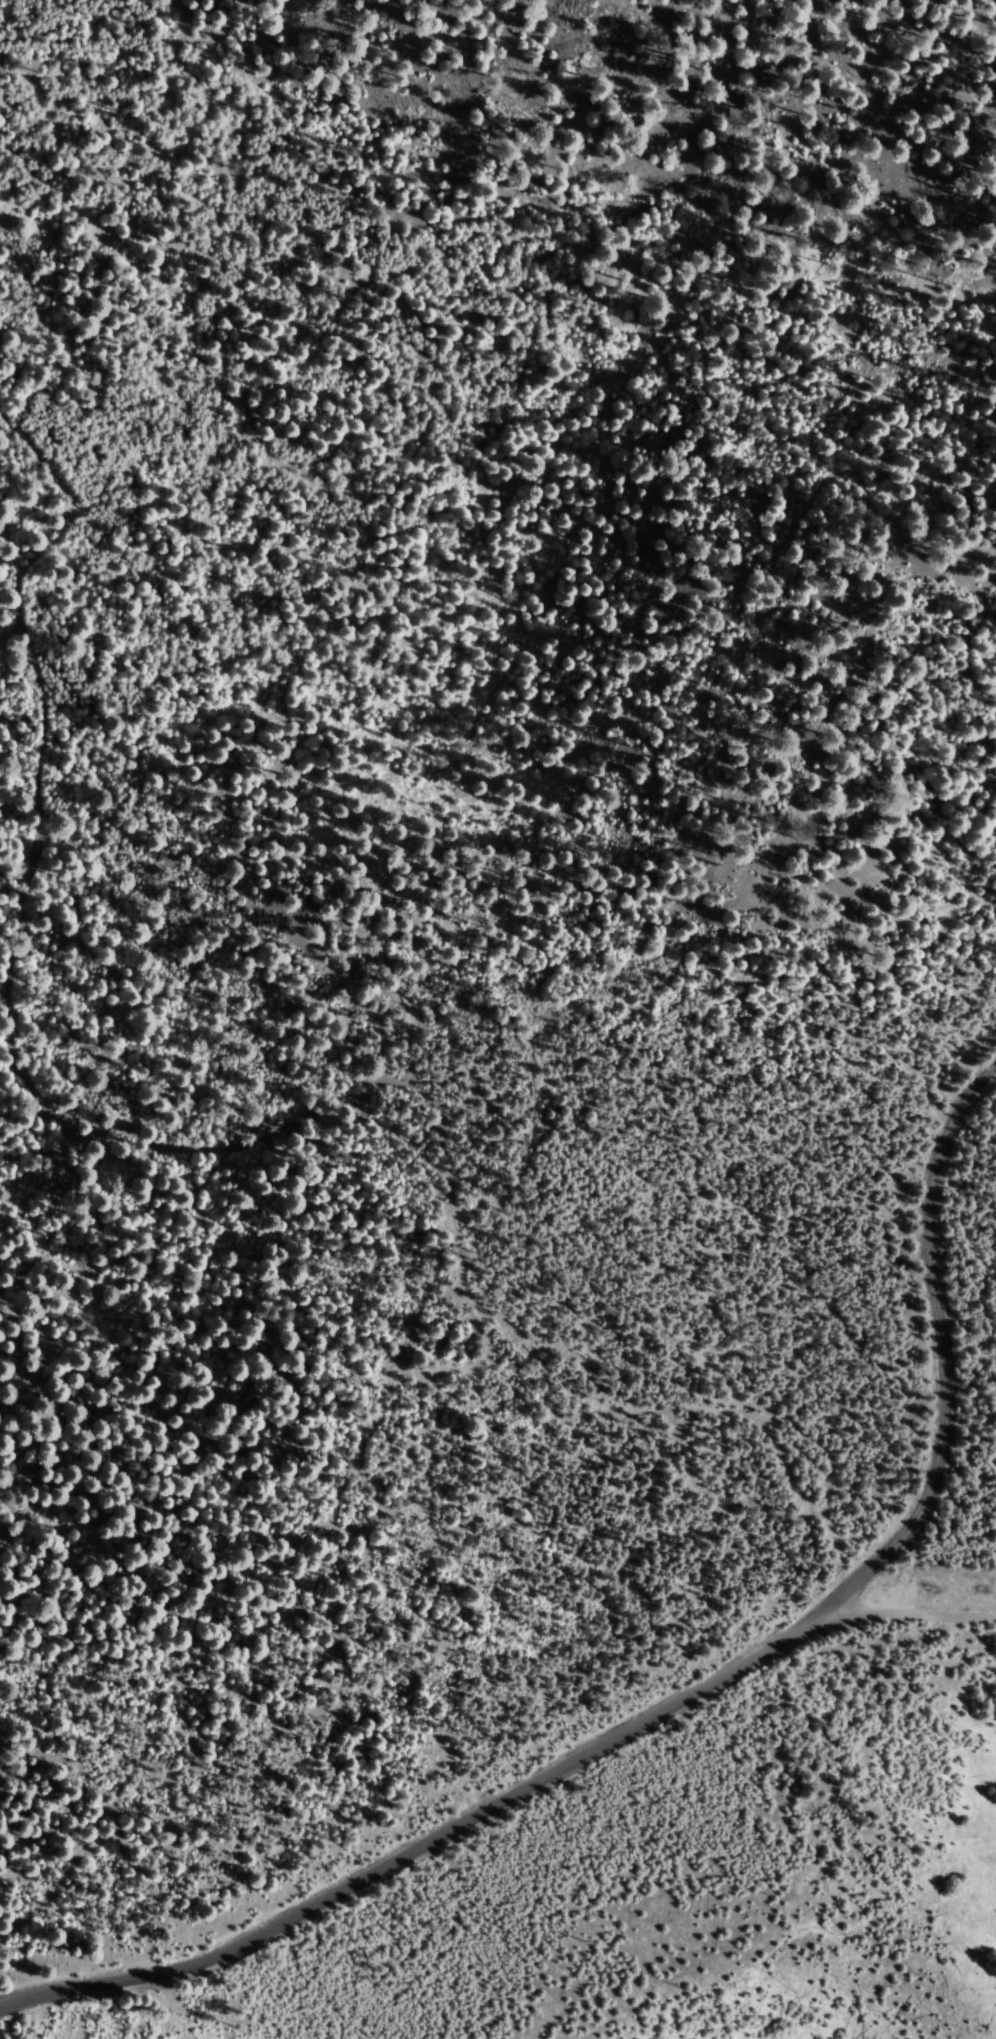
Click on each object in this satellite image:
road: (185, 1126)
road: (940, 1302)
road: (865, 1575)
road: (909, 1615)
road: (421, 1841)

